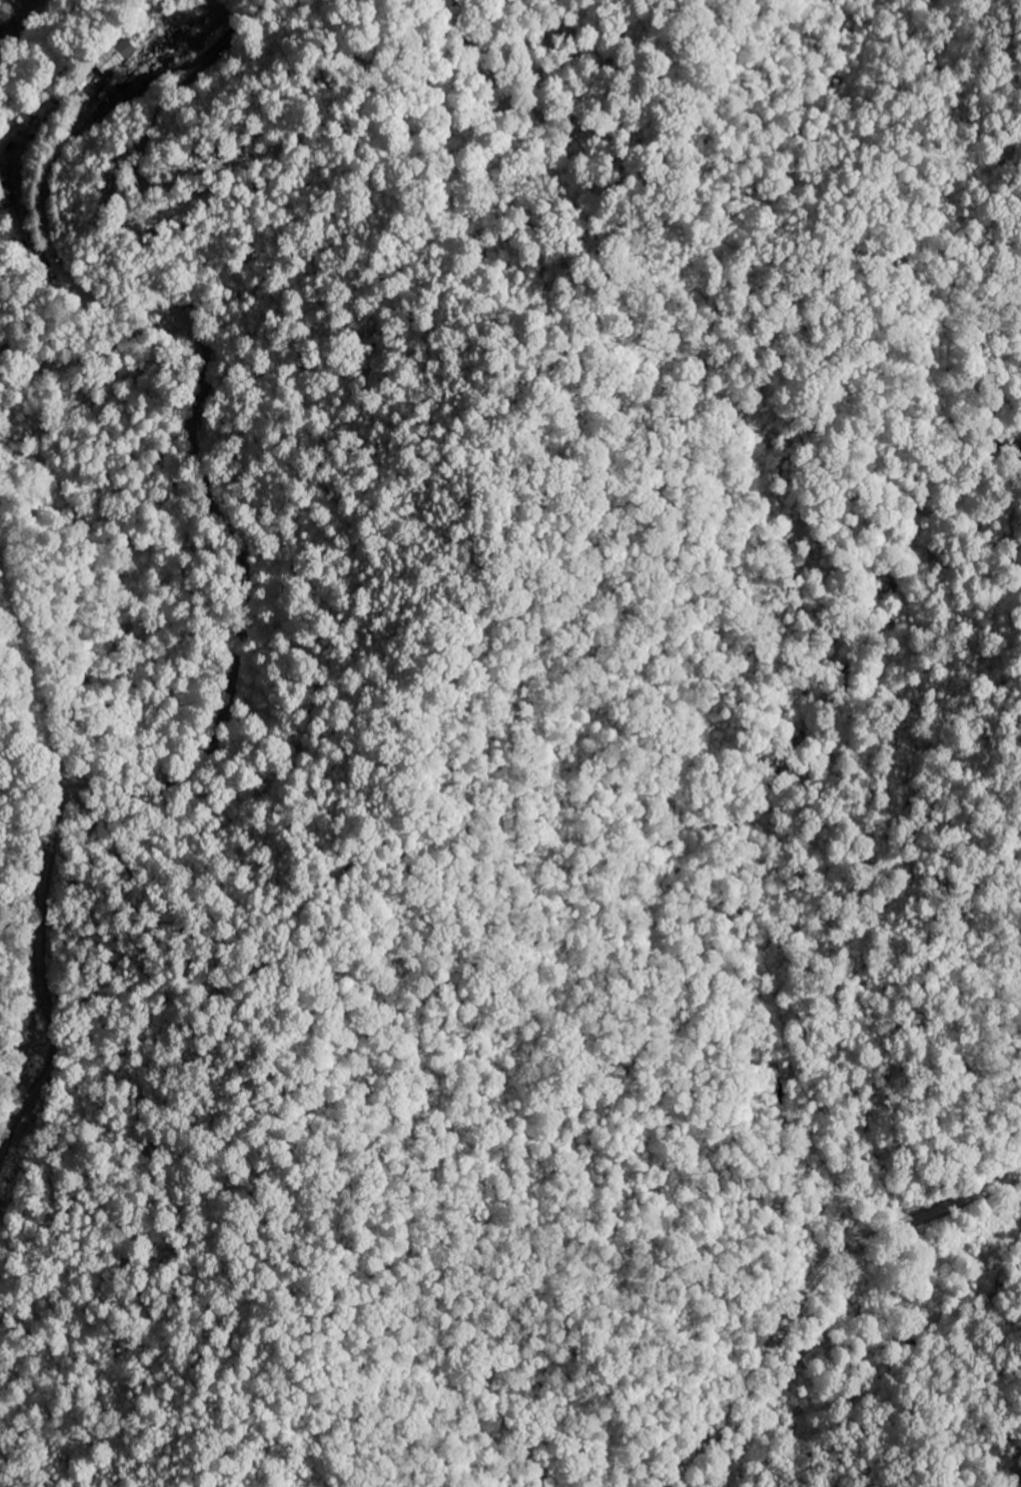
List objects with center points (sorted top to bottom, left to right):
building: (116, 56)
road: (601, 186)
building: (4, 191)
road: (238, 690)
road: (807, 1290)

